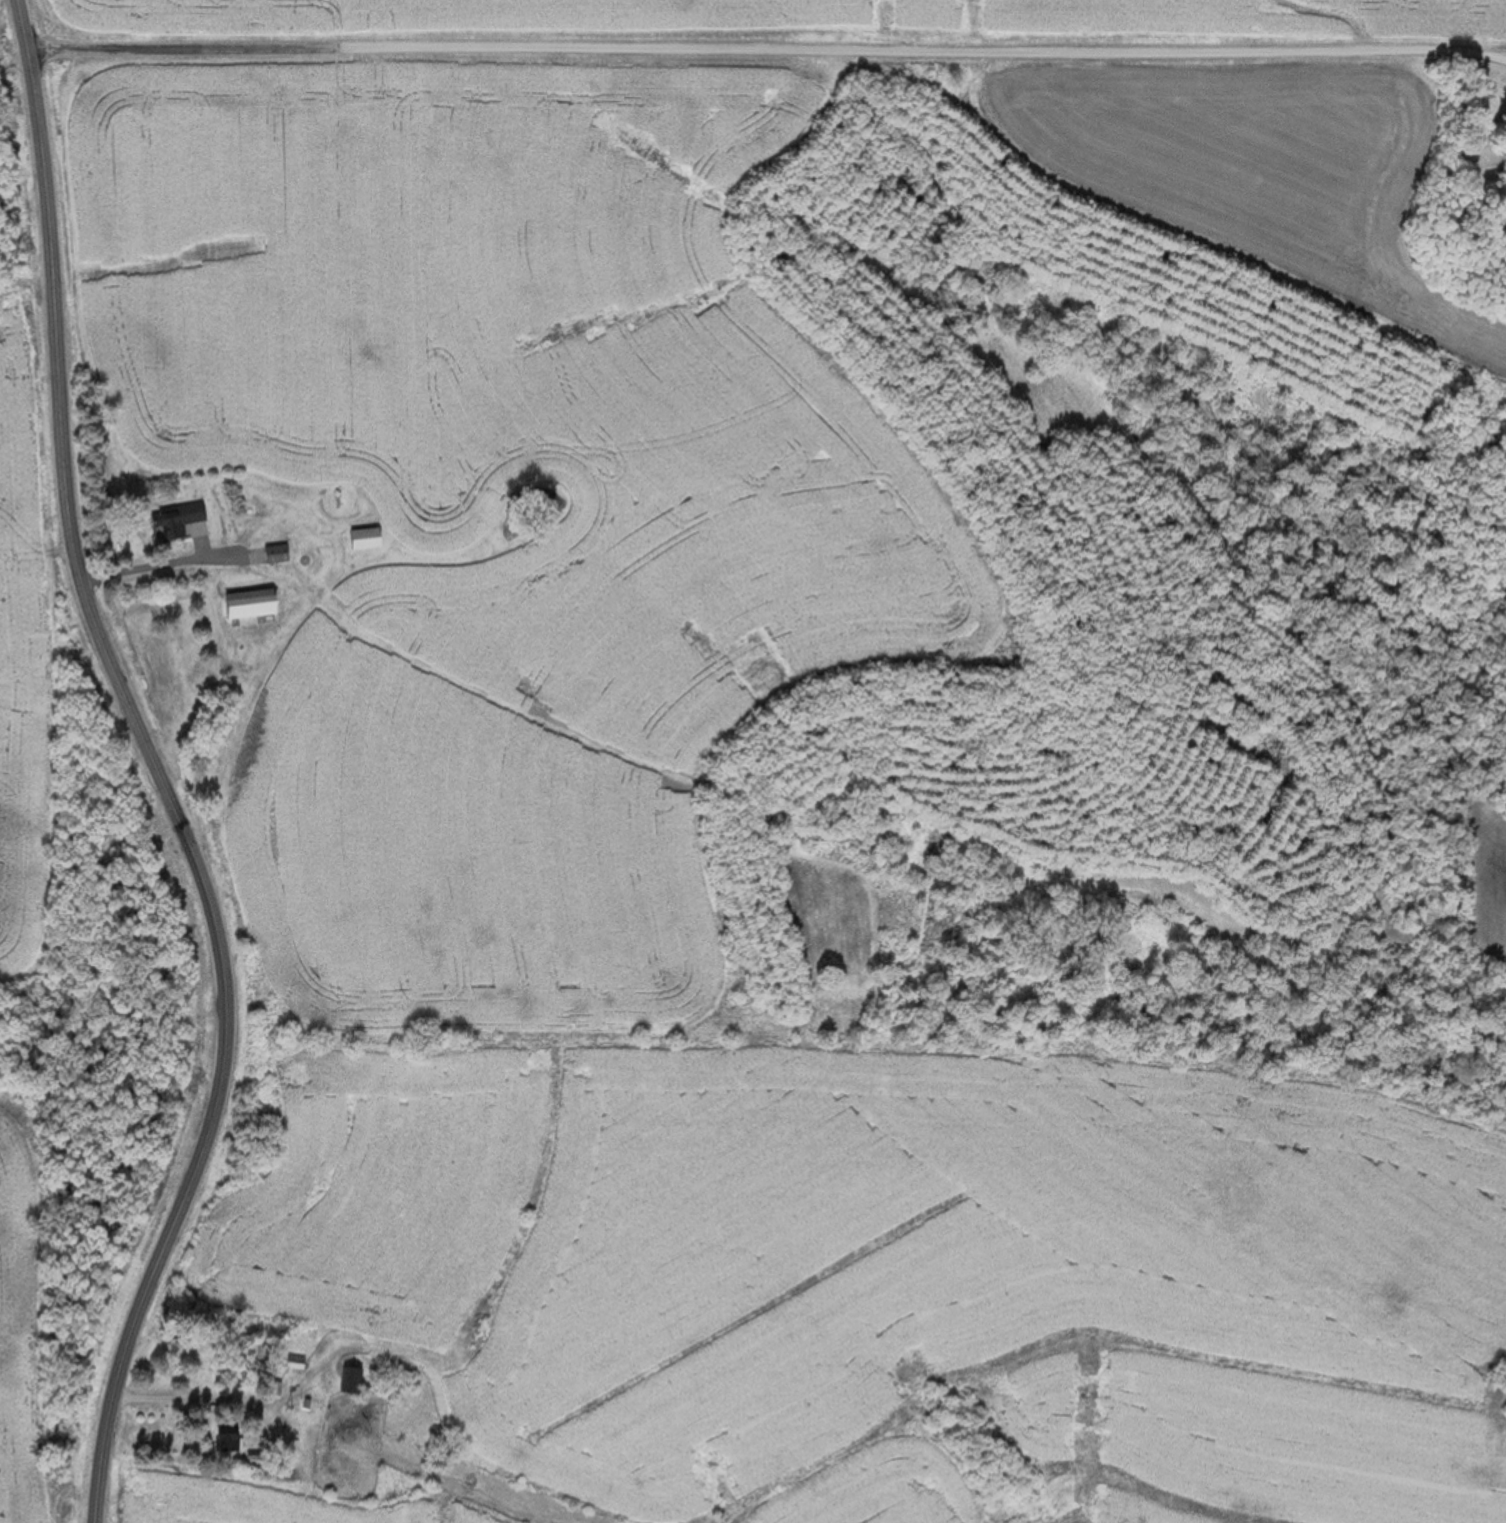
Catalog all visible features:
road: (768, 53)
building: (173, 521)
building: (360, 540)
building: (273, 555)
building: (242, 605)
road: (153, 768)
building: (293, 1363)
building: (345, 1382)
building: (225, 1441)

